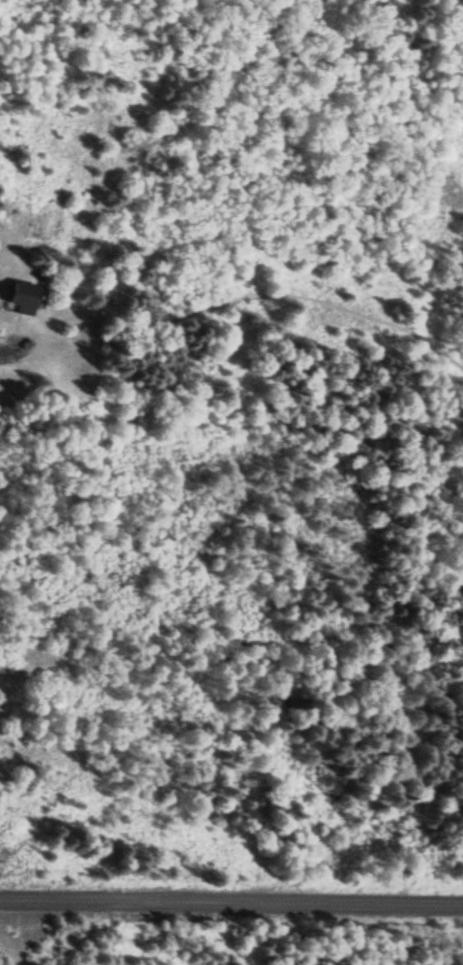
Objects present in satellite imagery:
building: (24, 296)
road: (231, 898)

